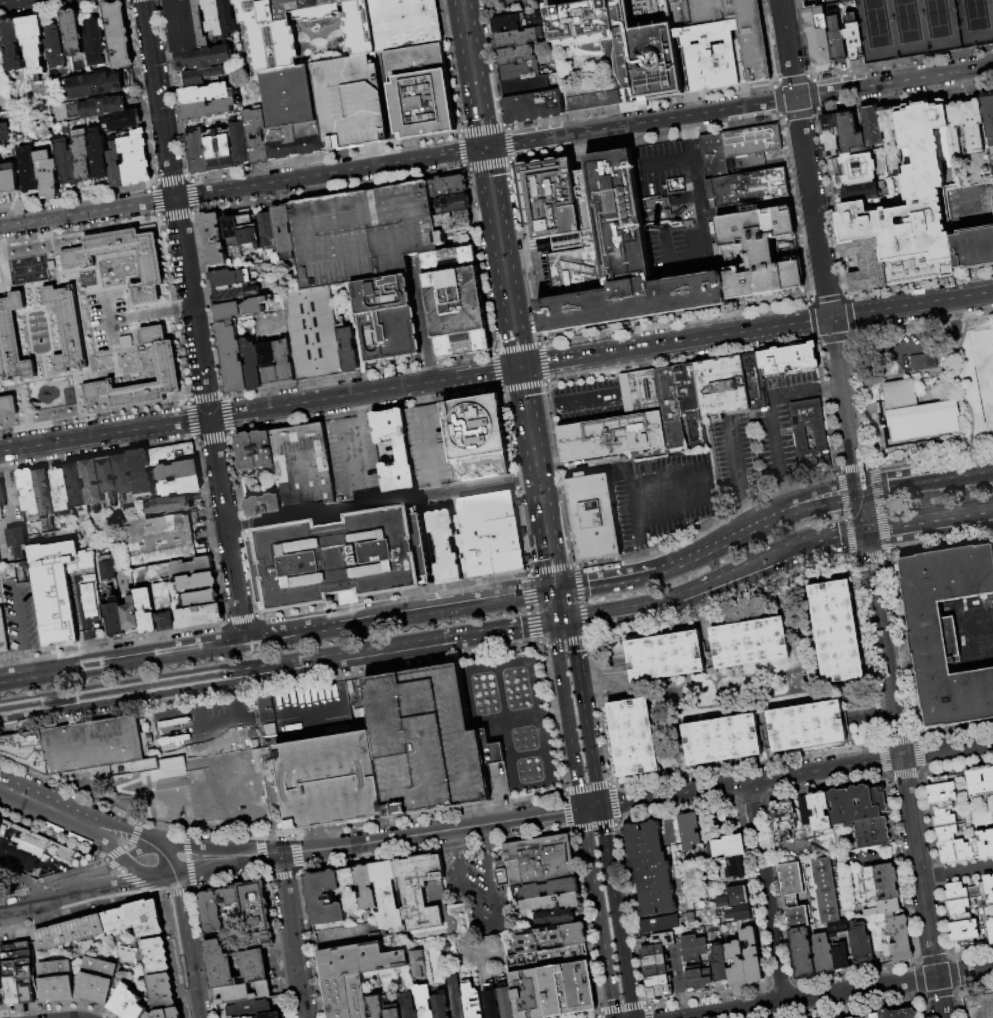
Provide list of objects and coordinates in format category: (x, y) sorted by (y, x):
road: (3, 0)
road: (494, 1)
building: (807, 3)
road: (478, 4)
building: (221, 17)
building: (521, 21)
building: (405, 23)
building: (186, 25)
building: (584, 25)
park: (925, 27)
building: (71, 32)
building: (118, 35)
building: (854, 37)
building: (518, 38)
building: (819, 38)
building: (273, 39)
building: (837, 41)
building: (32, 42)
building: (92, 42)
building: (11, 44)
building: (53, 47)
building: (517, 55)
building: (756, 55)
building: (205, 59)
building: (712, 66)
building: (520, 71)
road: (481, 73)
road: (464, 74)
building: (202, 76)
park: (1, 81)
building: (95, 85)
building: (525, 86)
building: (421, 92)
building: (206, 94)
building: (593, 96)
road: (158, 99)
parking lot: (355, 101)
road: (743, 106)
building: (102, 107)
building: (534, 107)
building: (209, 109)
building: (292, 114)
building: (988, 115)
building: (122, 120)
building: (872, 125)
building: (967, 126)
building: (4, 132)
building: (850, 134)
building: (831, 135)
building: (257, 137)
building: (892, 137)
building: (753, 142)
building: (240, 143)
traffic signals: (493, 147)
traffic signals: (477, 149)
building: (220, 150)
building: (197, 151)
building: (97, 156)
building: (81, 157)
building: (714, 157)
building: (135, 158)
road: (666, 159)
building: (65, 162)
building: (114, 164)
building: (732, 165)
building: (855, 169)
building: (28, 170)
road: (333, 172)
building: (47, 174)
road: (481, 175)
building: (8, 180)
road: (695, 183)
building: (448, 186)
building: (749, 188)
building: (860, 192)
building: (992, 193)
building: (554, 198)
building: (453, 204)
building: (748, 206)
road: (87, 212)
building: (904, 213)
building: (453, 221)
building: (267, 229)
building: (284, 229)
building: (250, 234)
building: (363, 234)
parking lot: (363, 234)
building: (234, 235)
building: (441, 238)
building: (213, 240)
road: (690, 242)
road: (819, 245)
building: (973, 249)
building: (759, 252)
road: (677, 254)
building: (79, 259)
building: (612, 261)
building: (232, 278)
building: (235, 293)
building: (147, 295)
building: (456, 302)
building: (240, 309)
road: (161, 312)
road: (119, 318)
road: (422, 318)
traffic signals: (831, 318)
building: (387, 319)
road: (954, 327)
building: (68, 329)
building: (313, 334)
building: (12, 340)
building: (348, 350)
road: (910, 351)
building: (232, 358)
building: (789, 359)
building: (921, 360)
building: (285, 362)
building: (167, 364)
building: (269, 364)
building: (252, 365)
traffic signals: (528, 366)
road: (528, 368)
traffic signals: (512, 369)
road: (496, 371)
road: (895, 375)
building: (754, 382)
road: (954, 385)
road: (831, 386)
building: (722, 387)
road: (516, 396)
road: (588, 399)
building: (691, 405)
road: (546, 406)
building: (7, 407)
building: (670, 409)
road: (770, 412)
road: (362, 414)
building: (912, 416)
traffic signals: (209, 418)
road: (209, 419)
building: (620, 424)
building: (811, 436)
building: (477, 438)
road: (429, 444)
building: (402, 453)
building: (256, 454)
road: (352, 454)
building: (172, 455)
road: (735, 455)
road: (595, 460)
building: (303, 466)
parking lot: (704, 466)
building: (179, 471)
road: (537, 473)
building: (142, 474)
road: (669, 474)
building: (124, 475)
building: (108, 476)
road: (958, 476)
building: (92, 483)
building: (76, 484)
road: (710, 484)
building: (181, 487)
road: (891, 487)
road: (436, 488)
building: (29, 491)
building: (61, 492)
road: (786, 492)
traffic signals: (859, 492)
building: (44, 495)
road: (634, 497)
road: (822, 499)
building: (2, 501)
road: (378, 503)
building: (518, 504)
building: (170, 505)
building: (265, 505)
road: (662, 508)
road: (744, 509)
building: (141, 510)
road: (862, 512)
building: (593, 516)
road: (767, 518)
road: (929, 522)
building: (523, 533)
traffic signals: (865, 533)
building: (491, 535)
building: (161, 538)
building: (17, 542)
building: (445, 547)
road: (643, 556)
building: (344, 560)
building: (527, 560)
road: (674, 565)
building: (108, 567)
building: (190, 568)
road: (742, 573)
building: (196, 582)
road: (578, 585)
building: (57, 588)
traffic signals: (564, 589)
road: (556, 590)
traffic signals: (548, 591)
building: (201, 599)
road: (566, 604)
road: (83, 607)
road: (550, 607)
building: (163, 608)
building: (145, 611)
park: (992, 612)
building: (130, 615)
parking lot: (18, 616)
road: (19, 616)
building: (200, 616)
road: (594, 616)
building: (114, 620)
traffic signals: (569, 620)
road: (560, 621)
traffic signals: (552, 623)
building: (835, 630)
building: (946, 631)
building: (3, 635)
road: (274, 635)
building: (748, 643)
road: (573, 648)
road: (90, 651)
building: (663, 657)
road: (27, 662)
road: (276, 667)
road: (285, 714)
road: (566, 716)
road: (234, 718)
building: (805, 726)
building: (632, 737)
building: (428, 740)
building: (719, 740)
road: (588, 741)
building: (83, 748)
road: (795, 774)
road: (904, 775)
building: (331, 781)
building: (980, 781)
building: (939, 792)
road: (132, 793)
road: (49, 795)
building: (856, 804)
traffic signals: (599, 806)
road: (590, 807)
traffic signals: (581, 809)
building: (803, 810)
building: (819, 812)
road: (530, 817)
building: (781, 820)
building: (943, 824)
road: (129, 830)
building: (689, 830)
building: (871, 833)
road: (87, 835)
road: (482, 839)
road: (379, 840)
road: (456, 843)
building: (643, 844)
building: (982, 844)
road: (200, 847)
building: (953, 851)
building: (33, 853)
building: (728, 855)
road: (36, 857)
building: (540, 860)
road: (166, 862)
road: (225, 869)
road: (957, 872)
building: (992, 874)
road: (81, 875)
road: (19, 878)
building: (792, 883)
road: (70, 887)
road: (106, 887)
building: (365, 887)
road: (489, 888)
building: (551, 888)
building: (654, 889)
building: (879, 889)
building: (982, 889)
building: (349, 890)
building: (827, 890)
building: (421, 891)
road: (463, 892)
road: (765, 892)
road: (40, 895)
building: (387, 896)
building: (324, 898)
building: (732, 898)
building: (954, 898)
building: (551, 903)
road: (21, 908)
road: (615, 912)
road: (598, 913)
building: (739, 913)
building: (256, 915)
building: (556, 918)
building: (798, 918)
road: (486, 924)
building: (660, 924)
building: (104, 926)
building: (837, 928)
building: (962, 929)
building: (989, 929)
road: (292, 937)
building: (341, 937)
building: (551, 937)
building: (899, 937)
building: (661, 939)
building: (860, 943)
road: (187, 947)
building: (692, 948)
building: (652, 951)
building: (801, 954)
building: (822, 954)
building: (155, 955)
building: (840, 956)
building: (750, 957)
building: (360, 959)
power substation: (360, 959)
building: (24, 960)
building: (654, 961)
building: (419, 964)
building: (735, 965)
building: (220, 966)
building: (719, 966)
building: (101, 968)
building: (56, 969)
building: (256, 971)
building: (656, 971)
building: (12, 975)
building: (697, 979)
building: (658, 981)
building: (96, 988)
building: (566, 988)
building: (58, 989)
building: (161, 991)
building: (659, 992)
building: (28, 993)
road: (840, 993)
building: (237, 994)
building: (529, 994)
building: (346, 997)
power substation: (346, 997)
building: (456, 997)
road: (969, 999)
building: (423, 1000)
building: (472, 1001)
building: (506, 1001)
building: (492, 1002)
building: (0, 1003)
building: (128, 1003)
building: (440, 1004)
building: (407, 1005)
building: (376, 1006)
building: (393, 1011)
building: (165, 1014)
building: (896, 1014)
building: (271, 1015)
building: (247, 1017)
building: (254, 1017)
building: (852, 1017)

